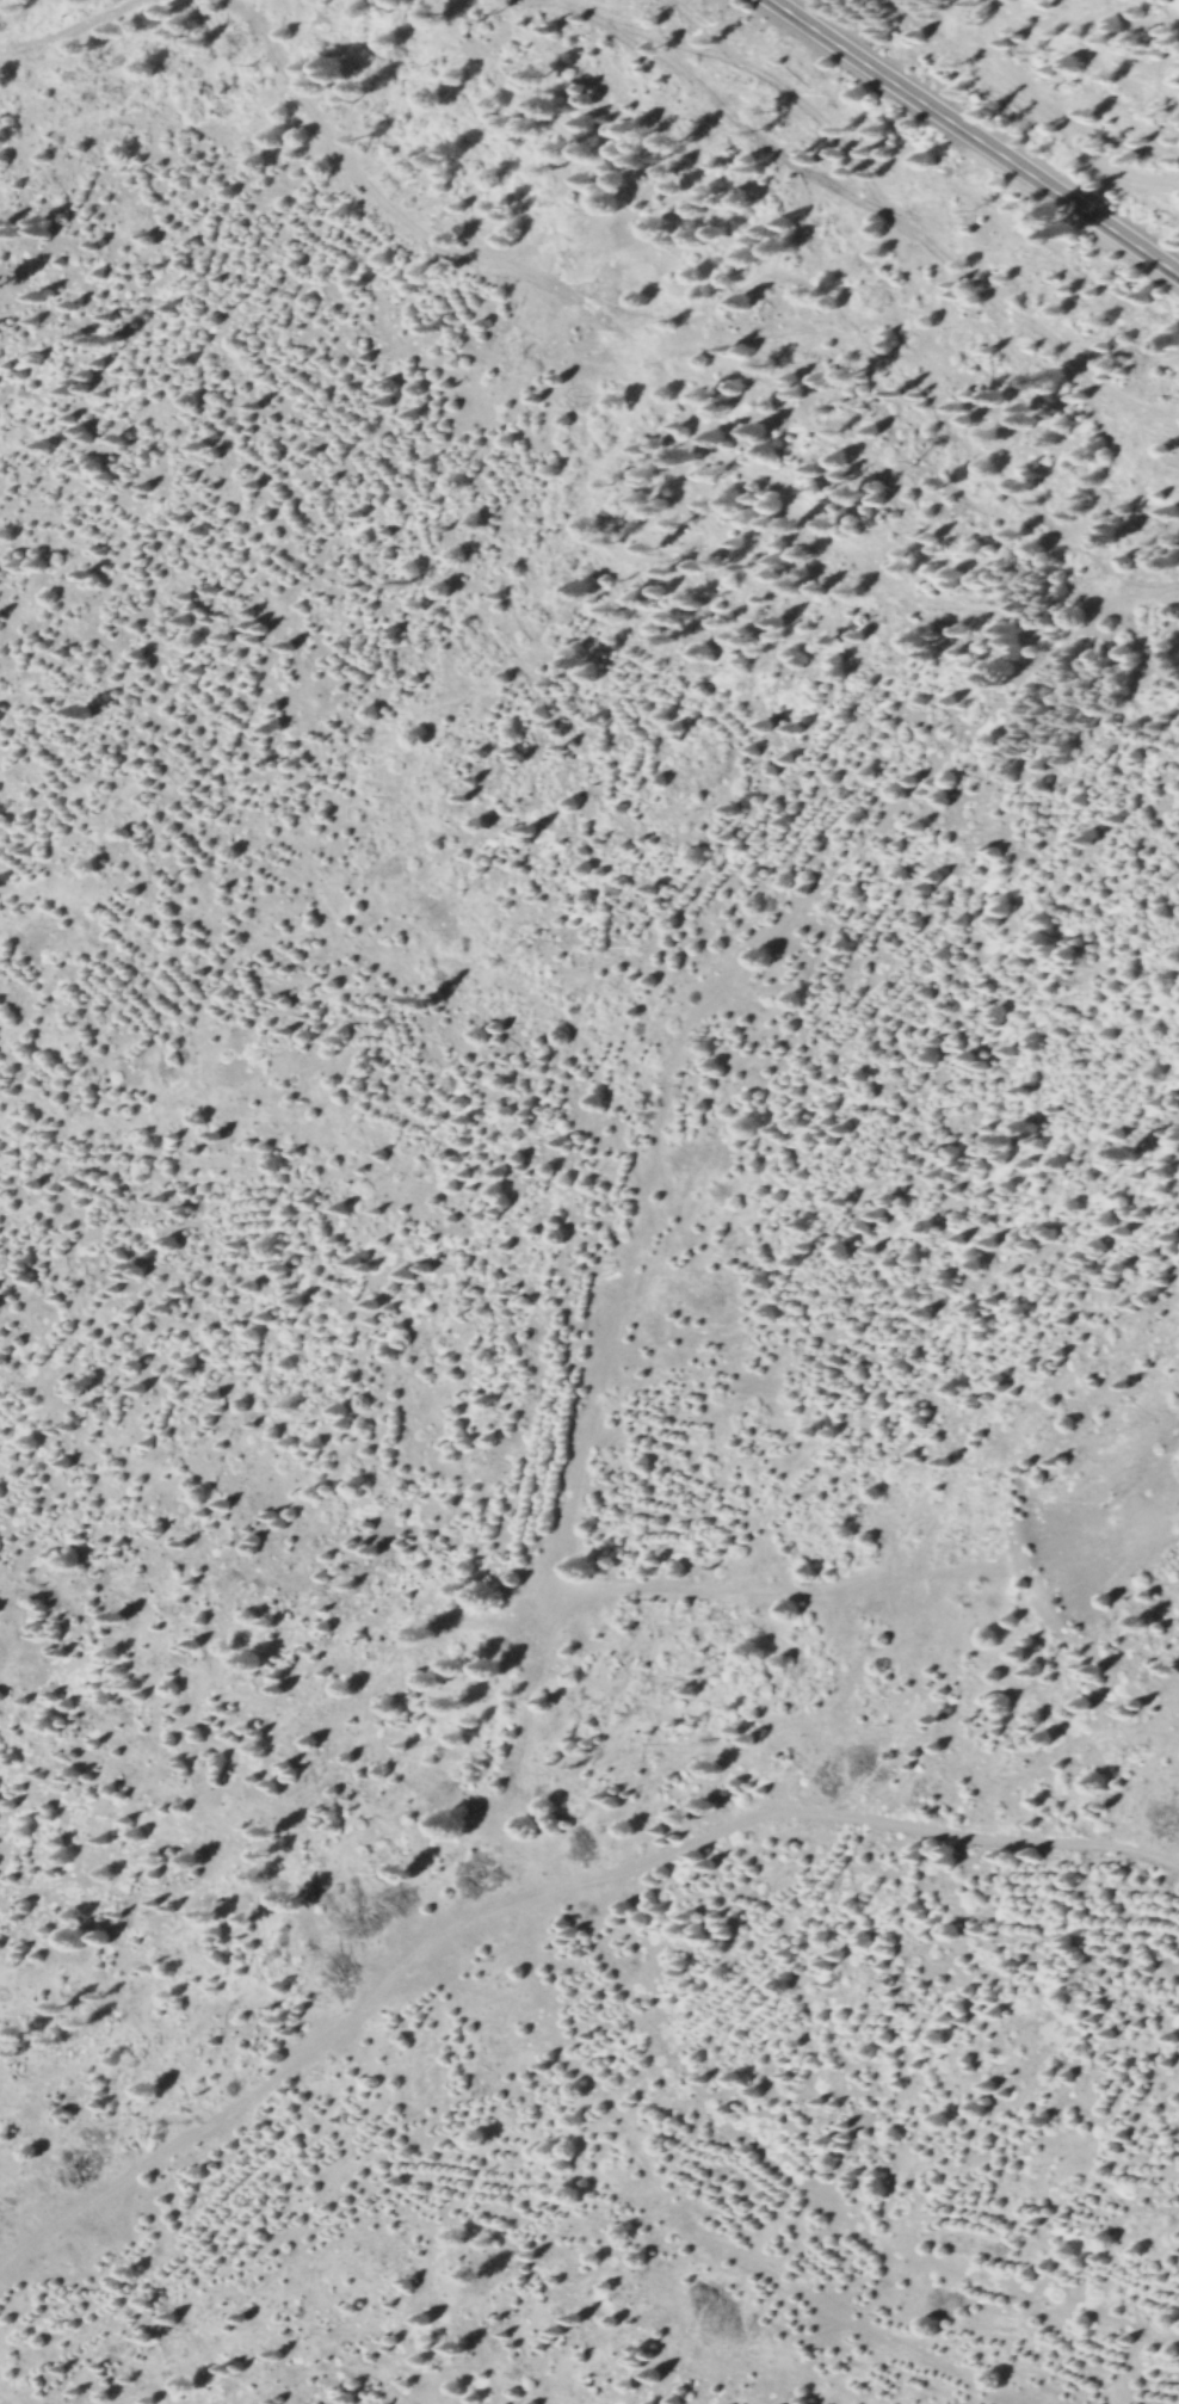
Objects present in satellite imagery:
road: (979, 135)

